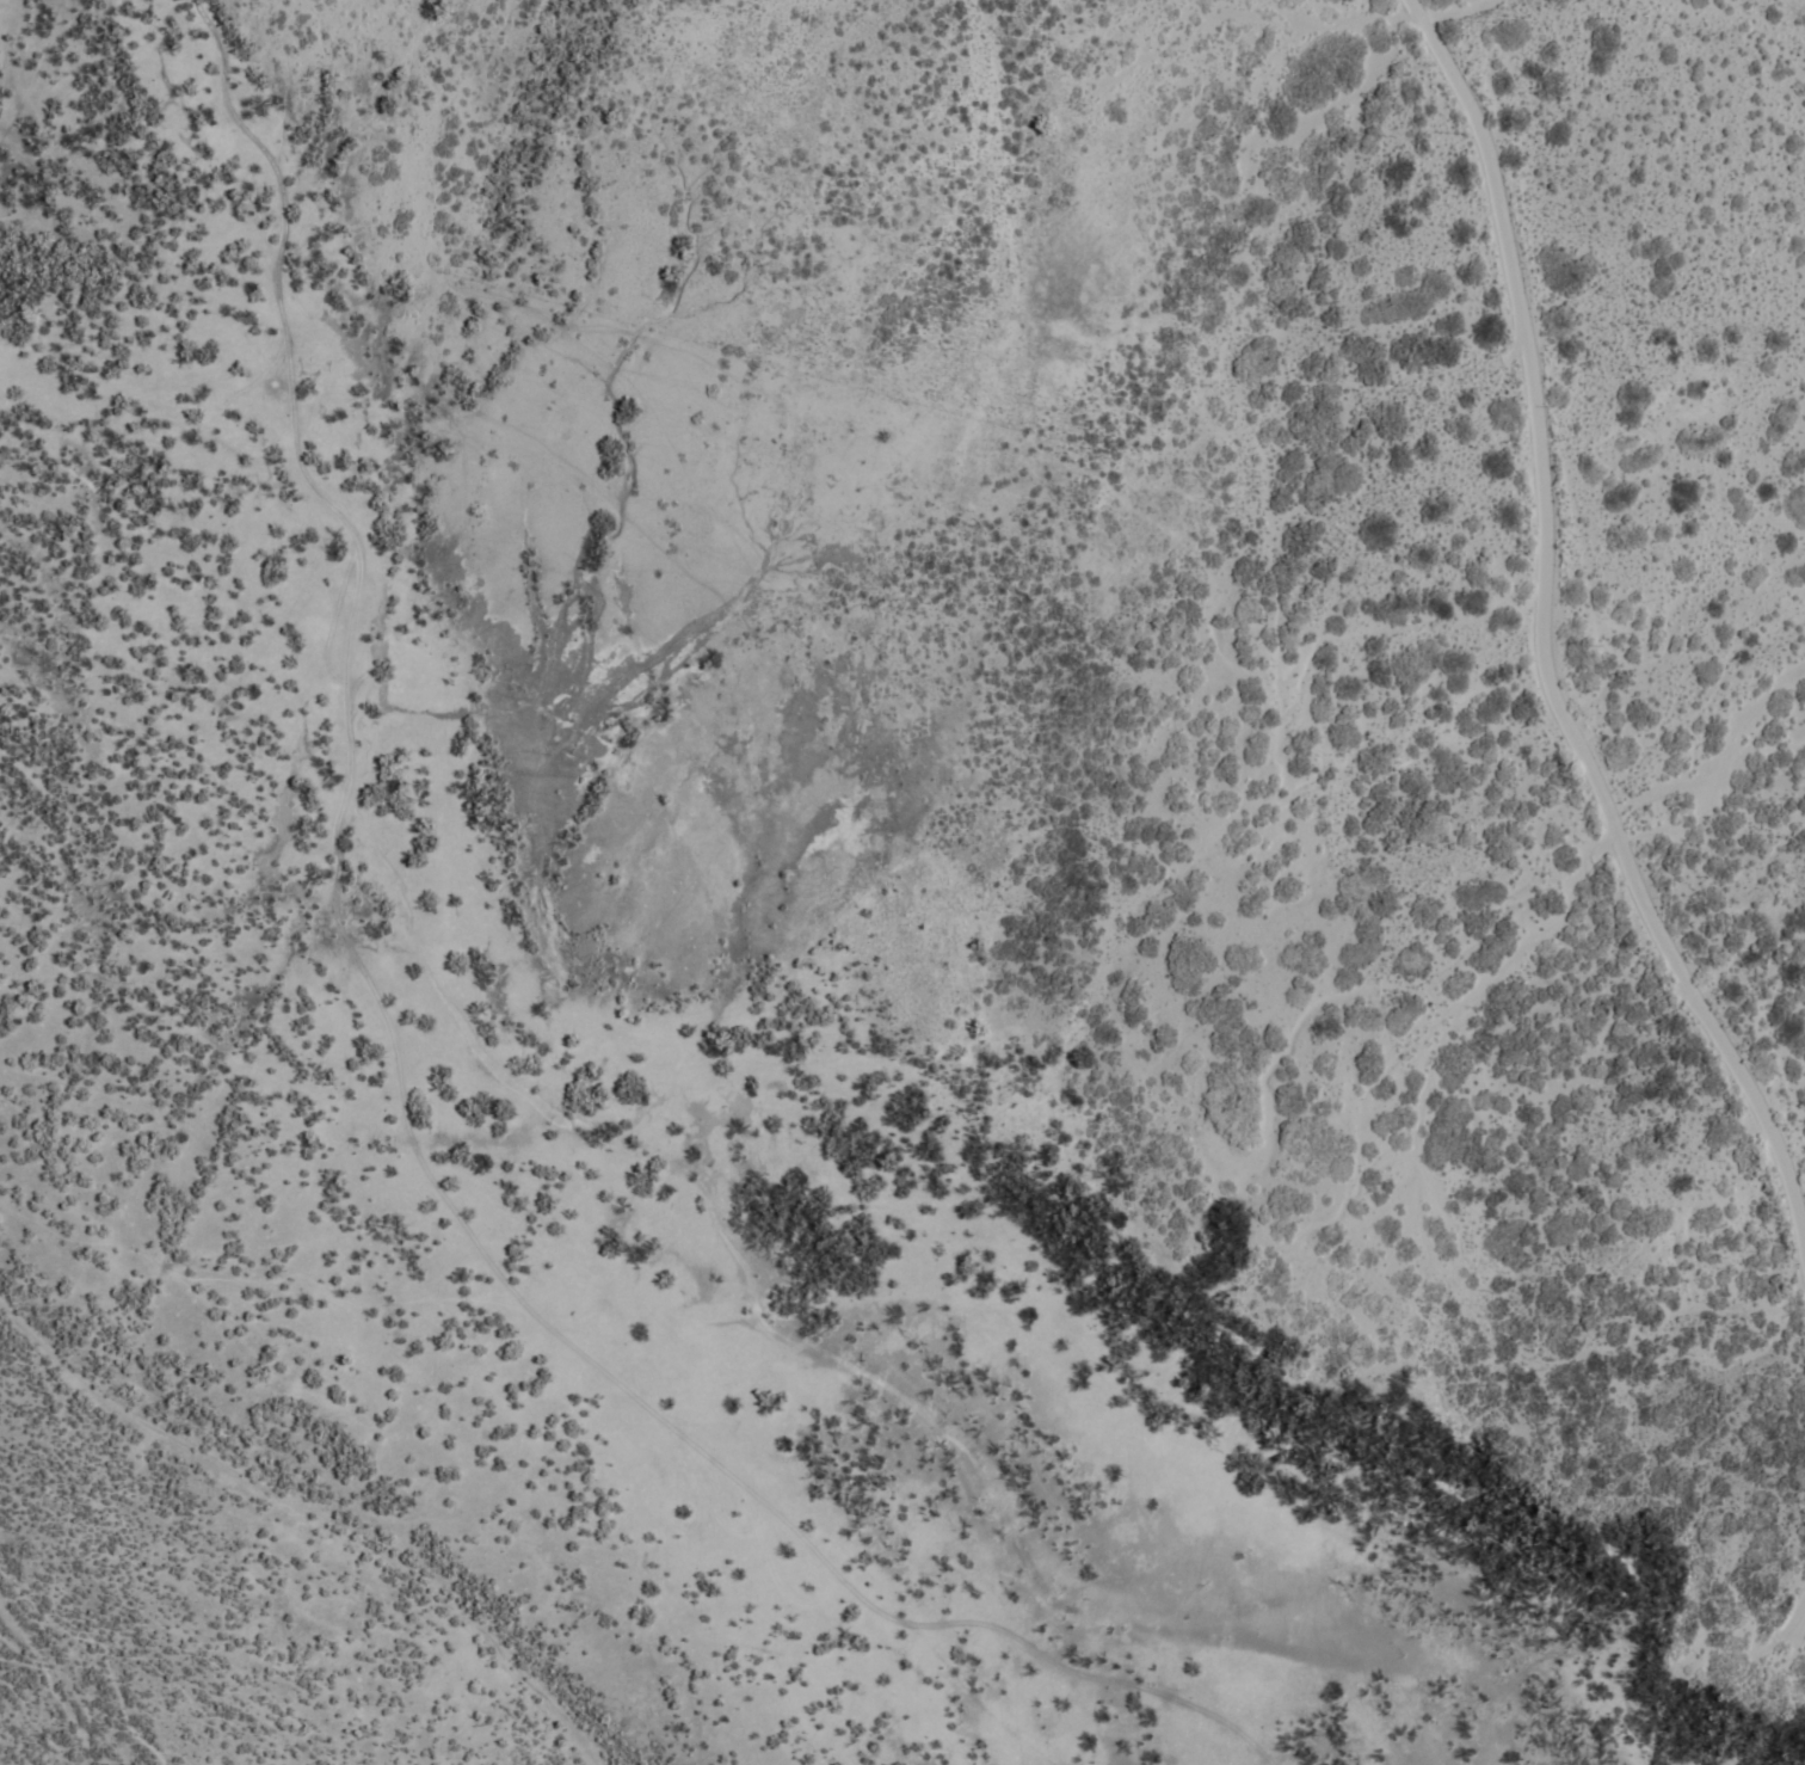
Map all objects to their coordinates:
road: (1113, 891)
road: (1578, 1308)
road: (1213, 1471)

